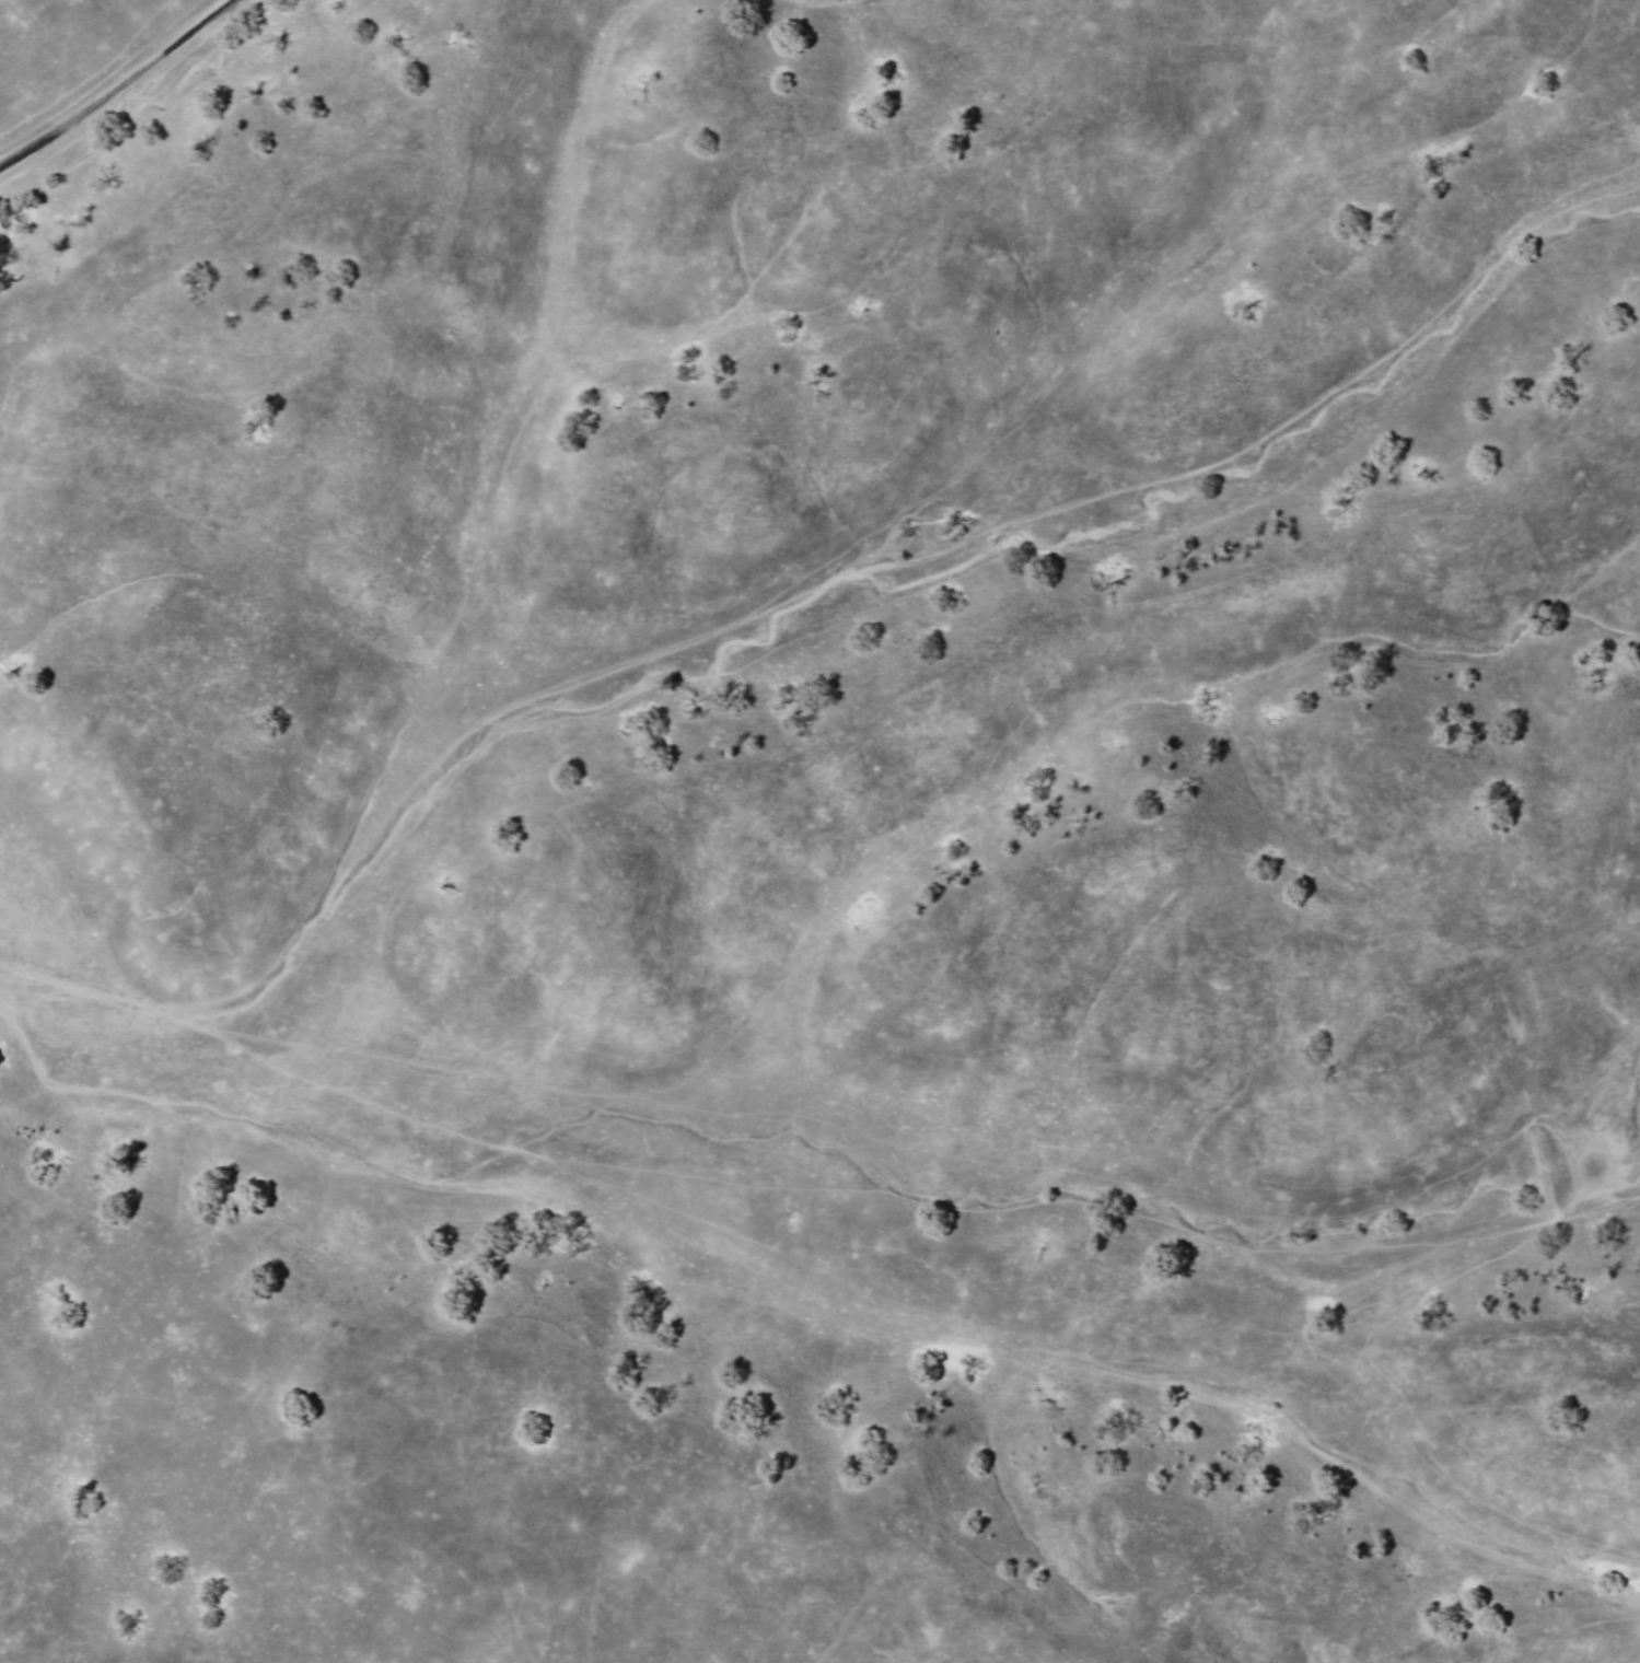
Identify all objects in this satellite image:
road: (116, 85)

